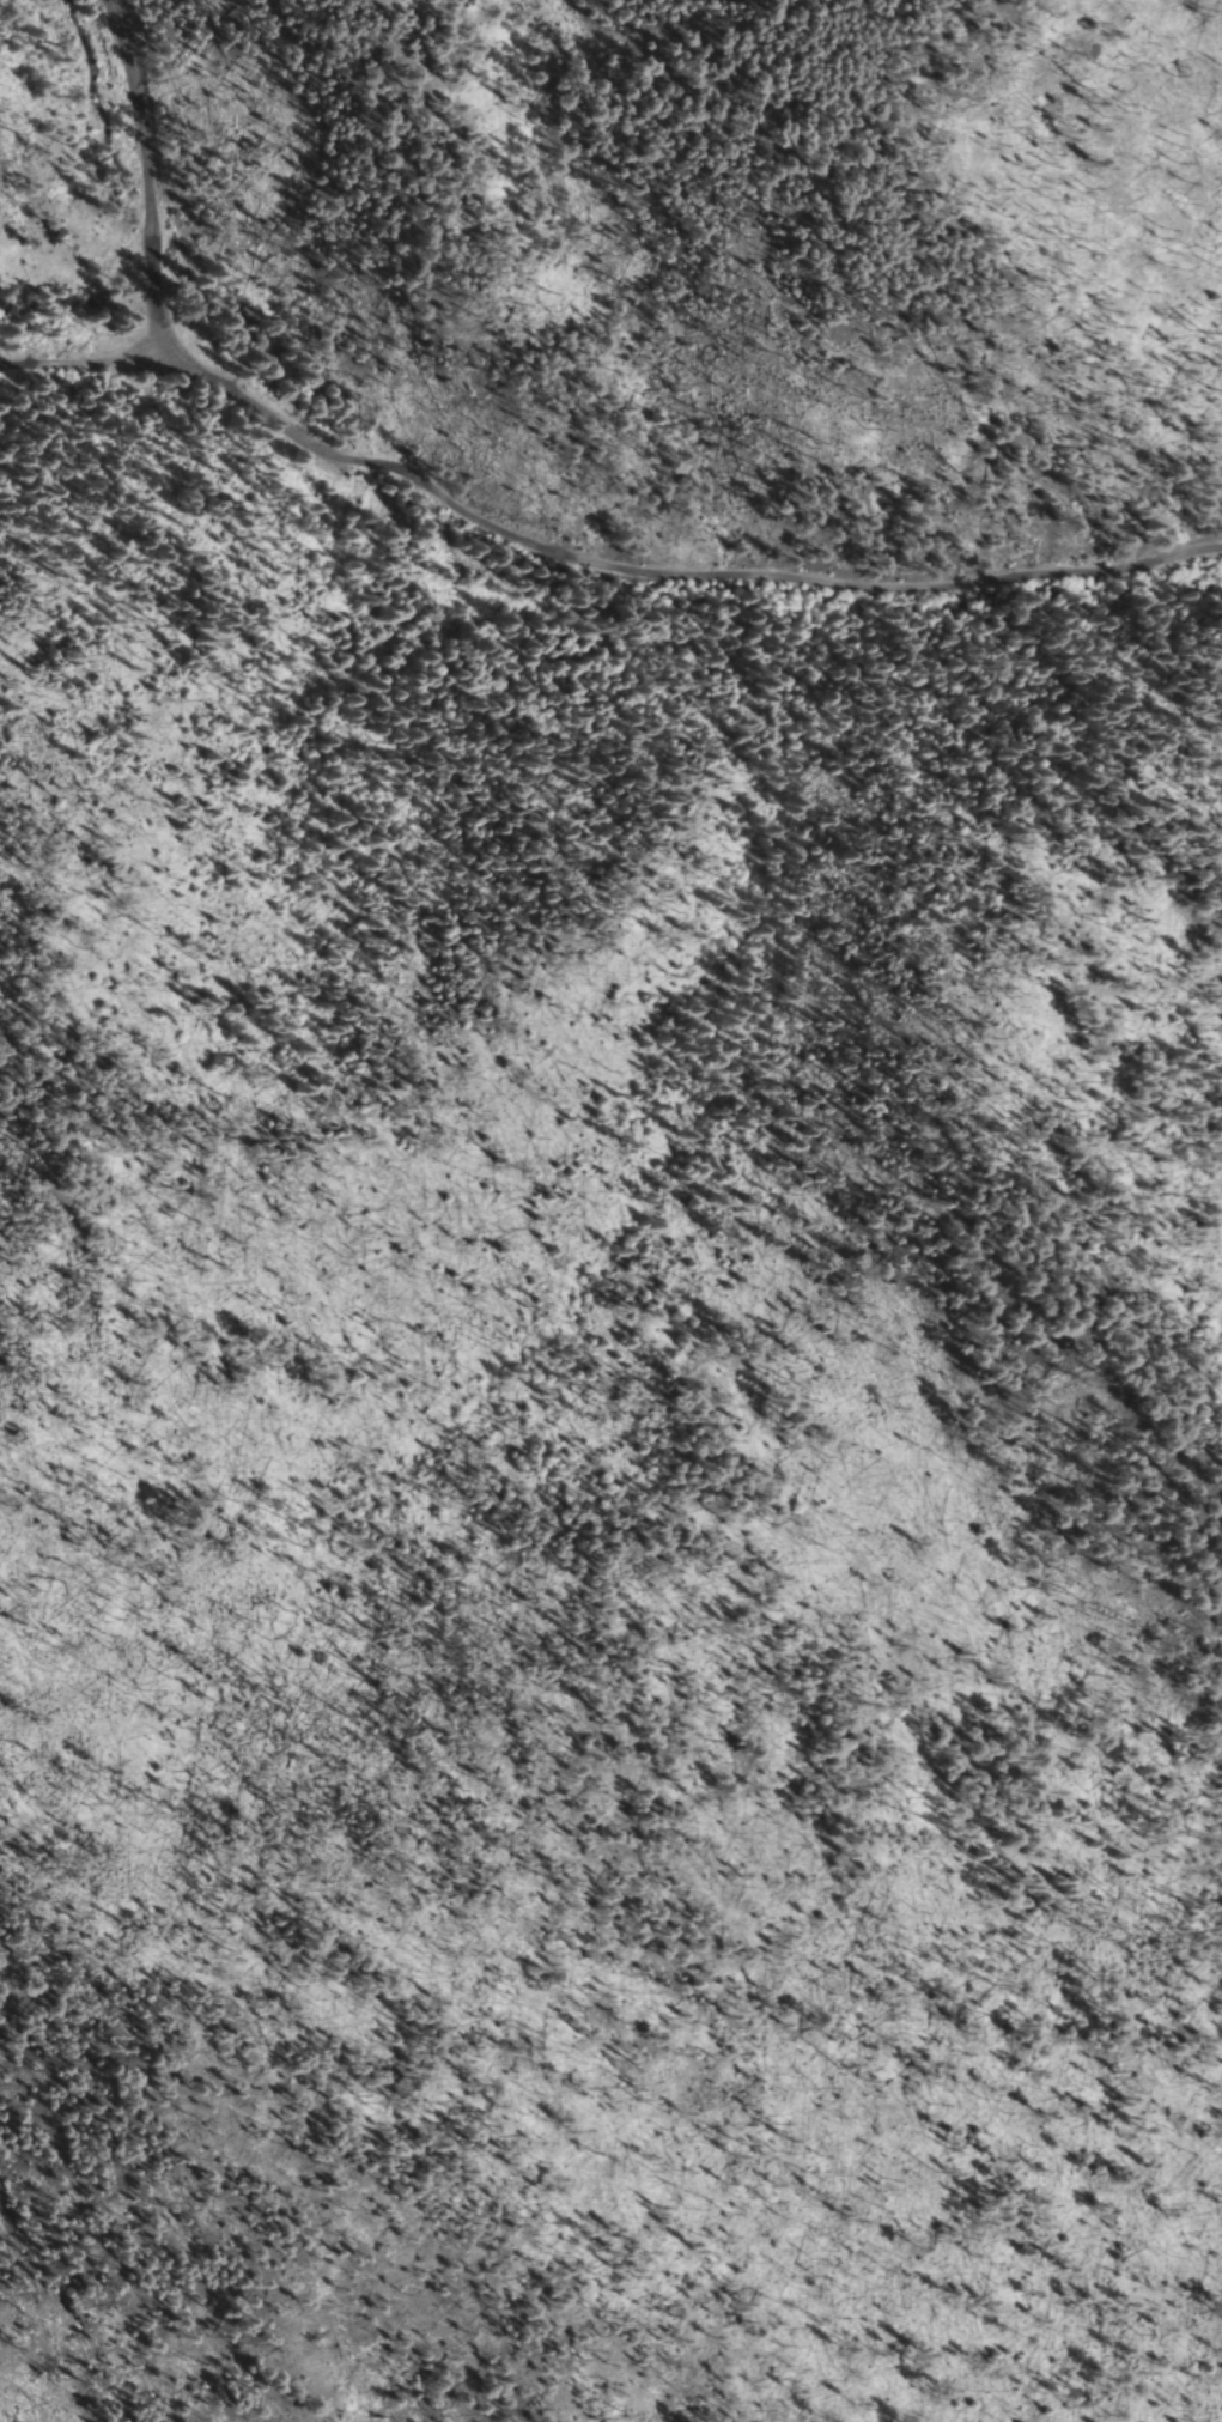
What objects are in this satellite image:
road: (146, 176)
road: (590, 557)

